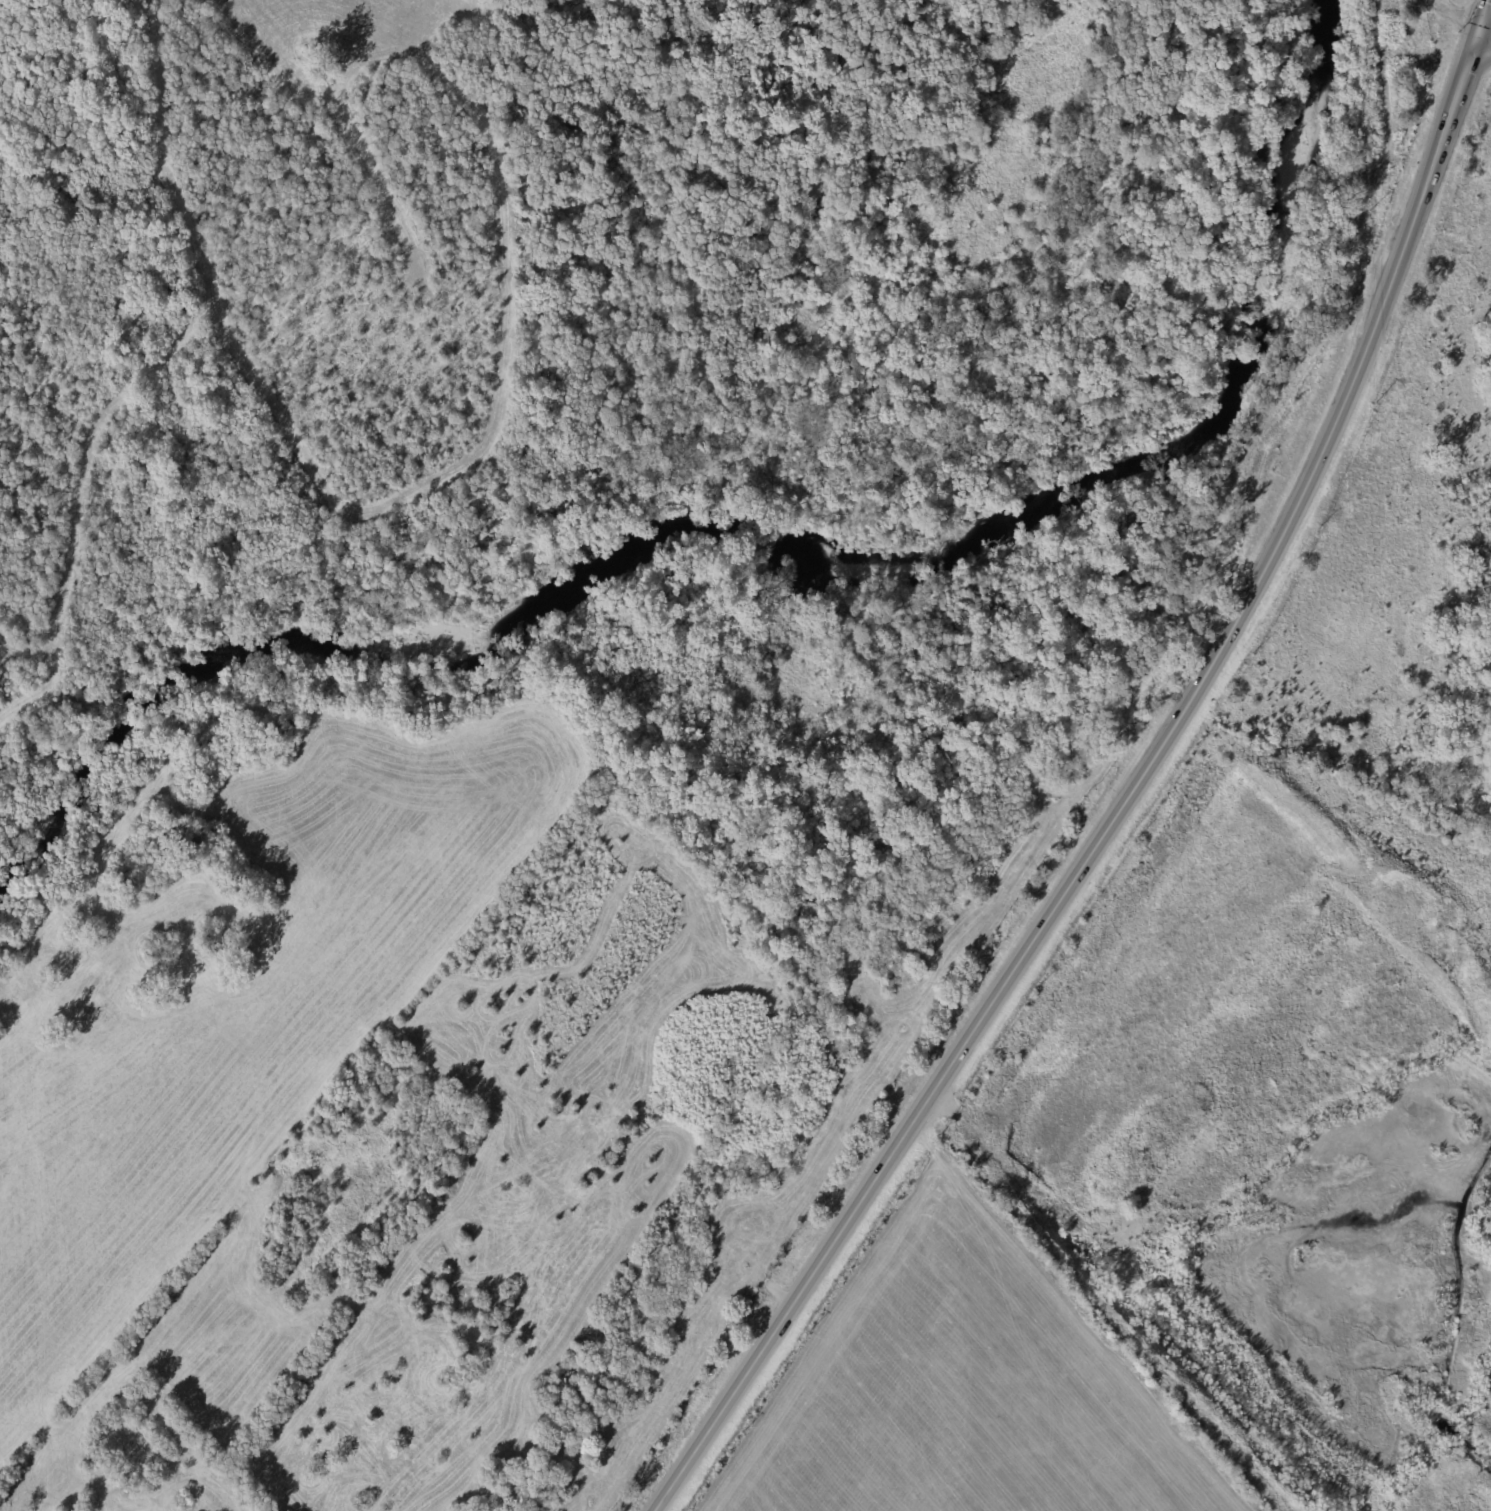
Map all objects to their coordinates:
road: (1482, 18)
road: (1483, 41)
river: (776, 532)
airport: (575, 652)
road: (1118, 800)

